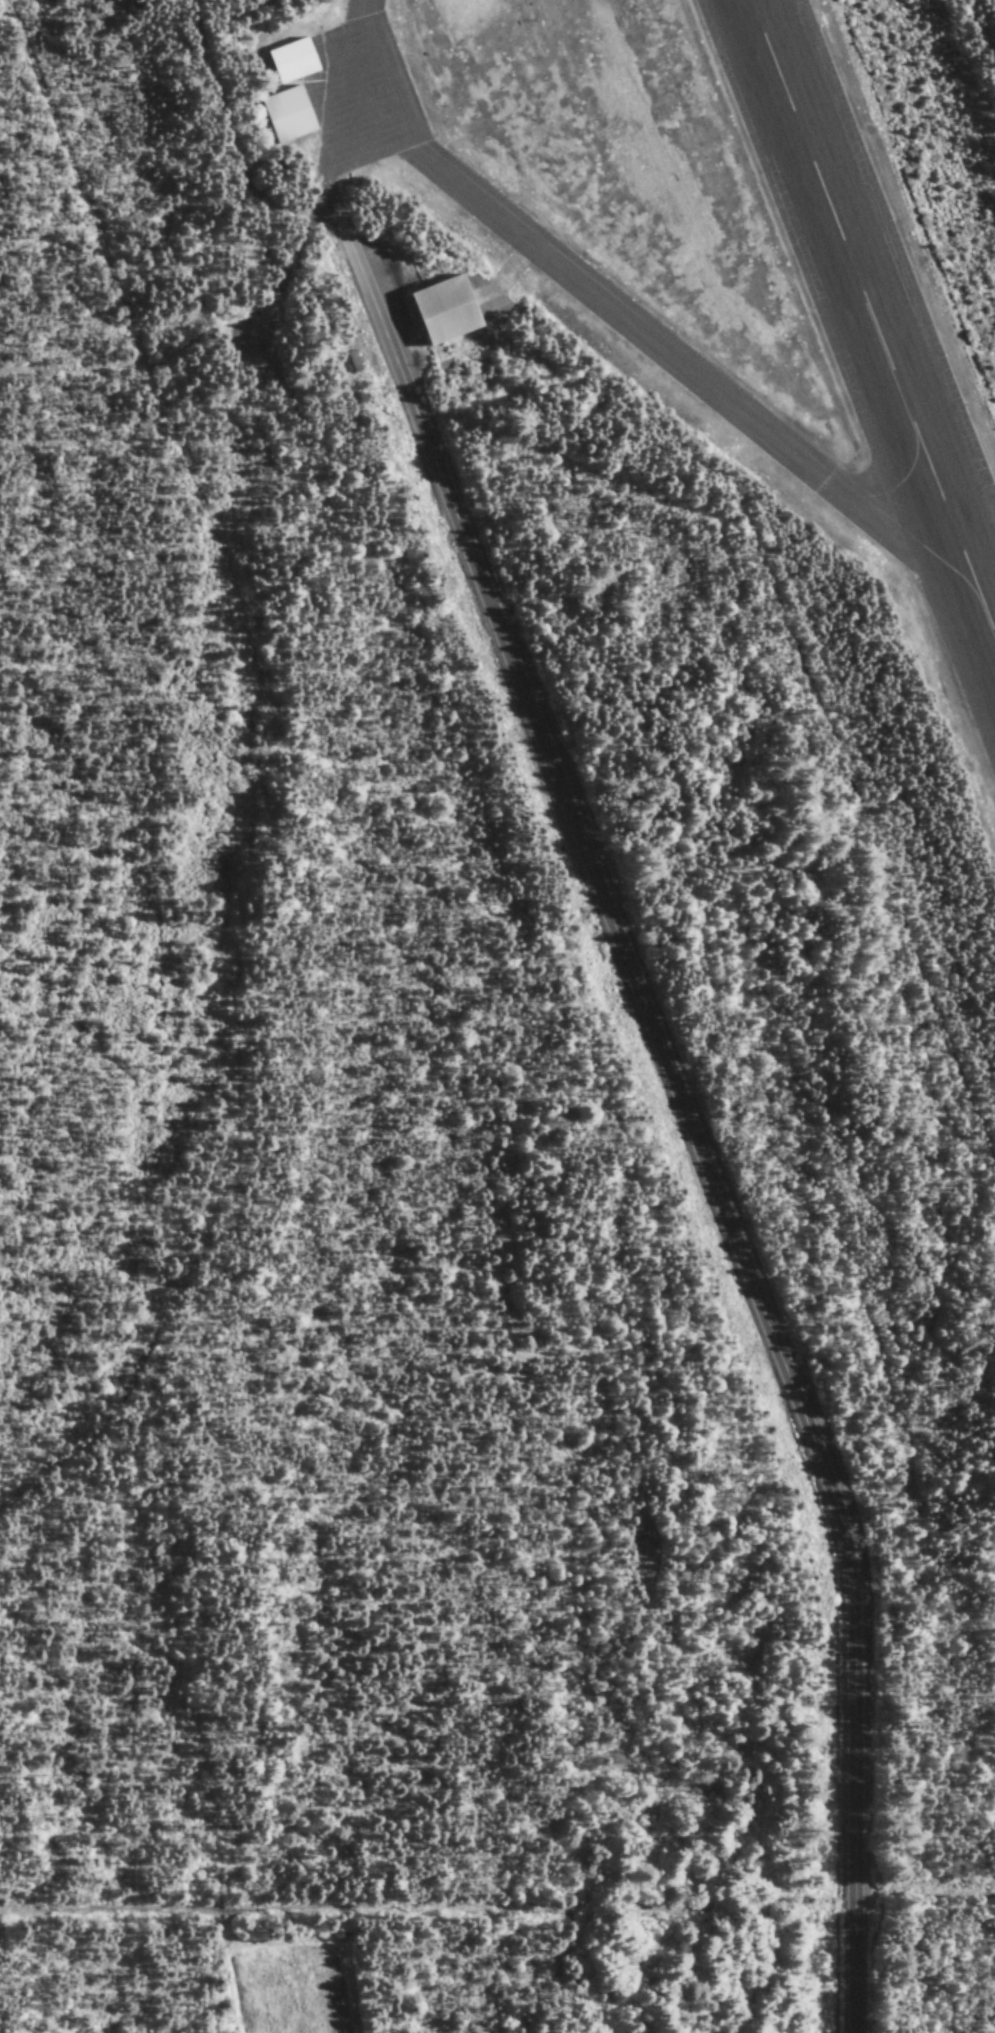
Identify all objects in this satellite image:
building: (286, 61)
building: (280, 115)
road: (230, 138)
parking lot: (378, 260)
building: (434, 310)
airport runway: (873, 311)
airport taxiway: (642, 338)
airport: (638, 592)
road: (674, 1096)
crop: (287, 1994)

